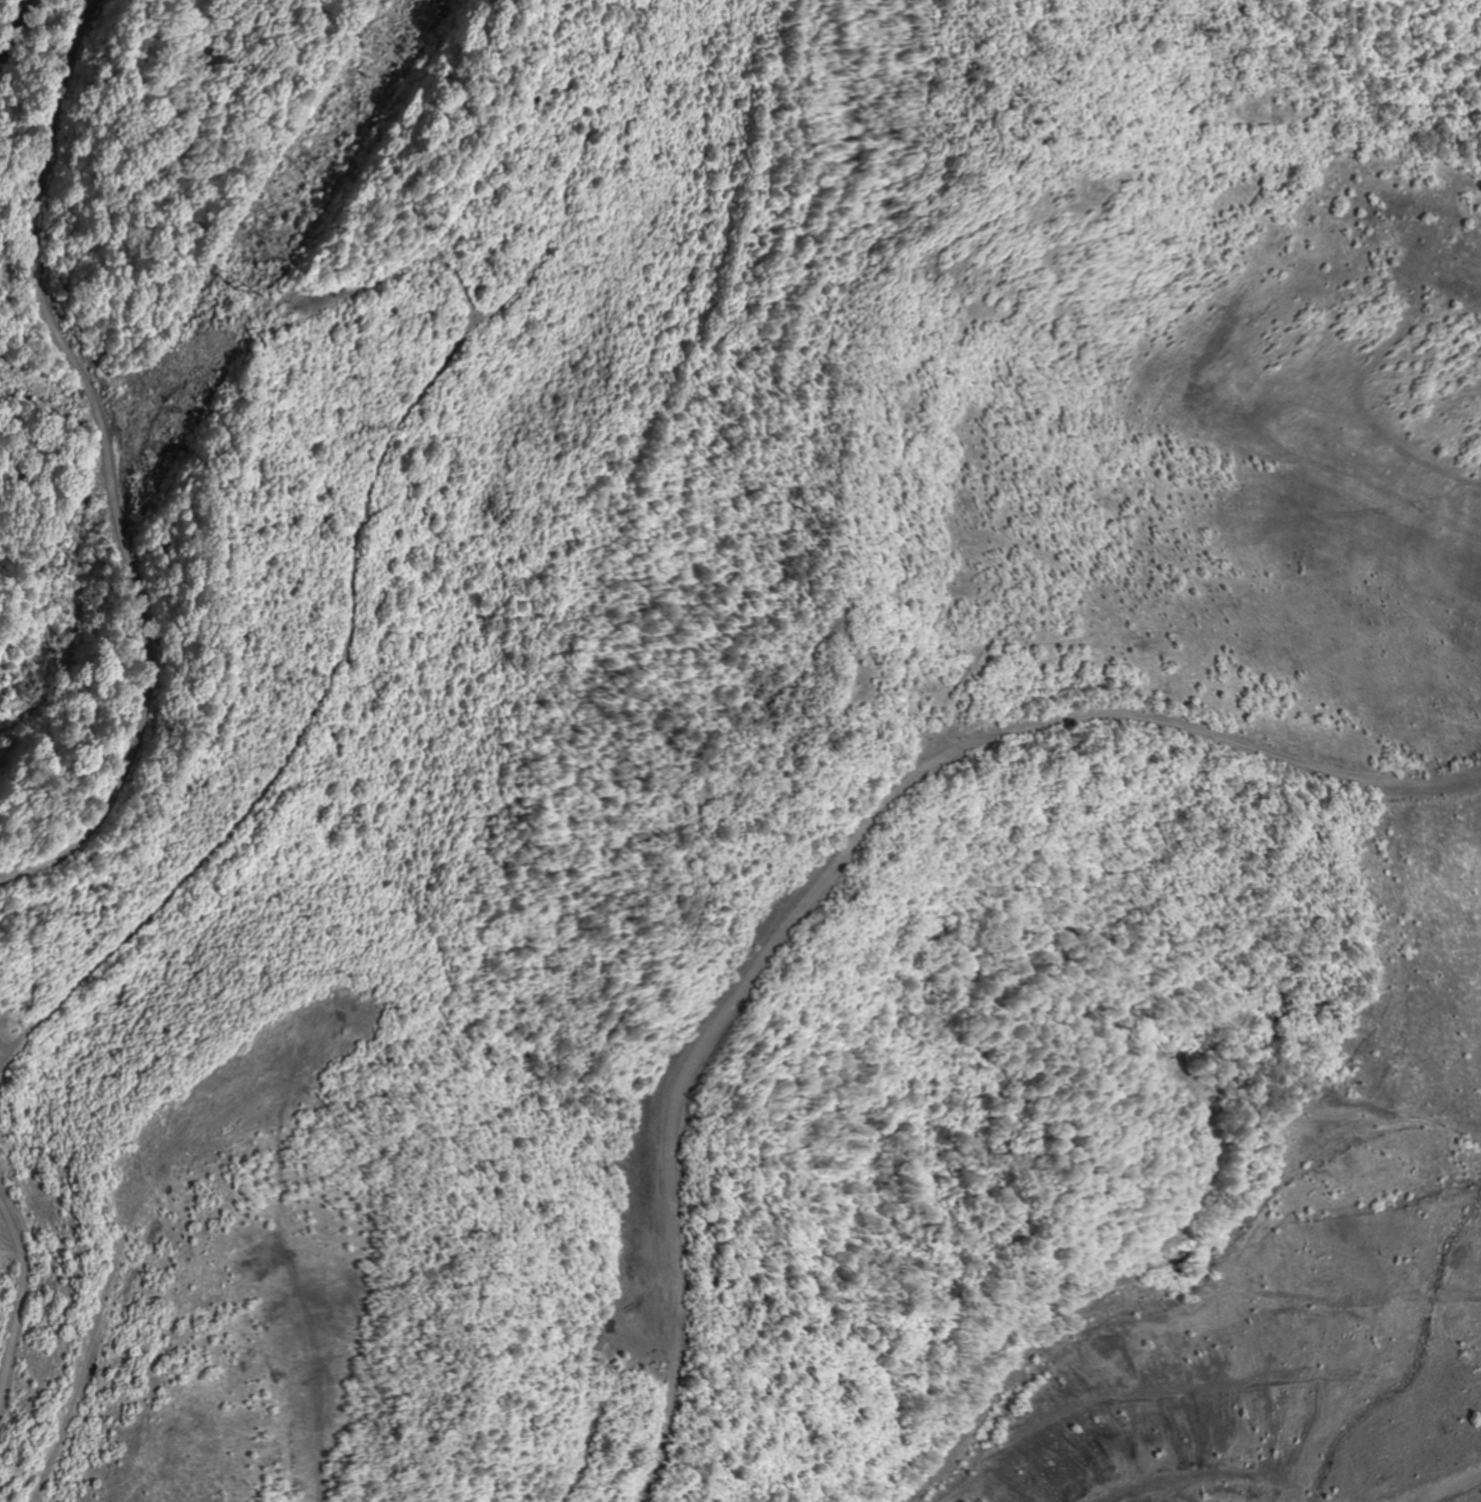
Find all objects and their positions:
road: (14, 31)
power tower: (218, 293)

